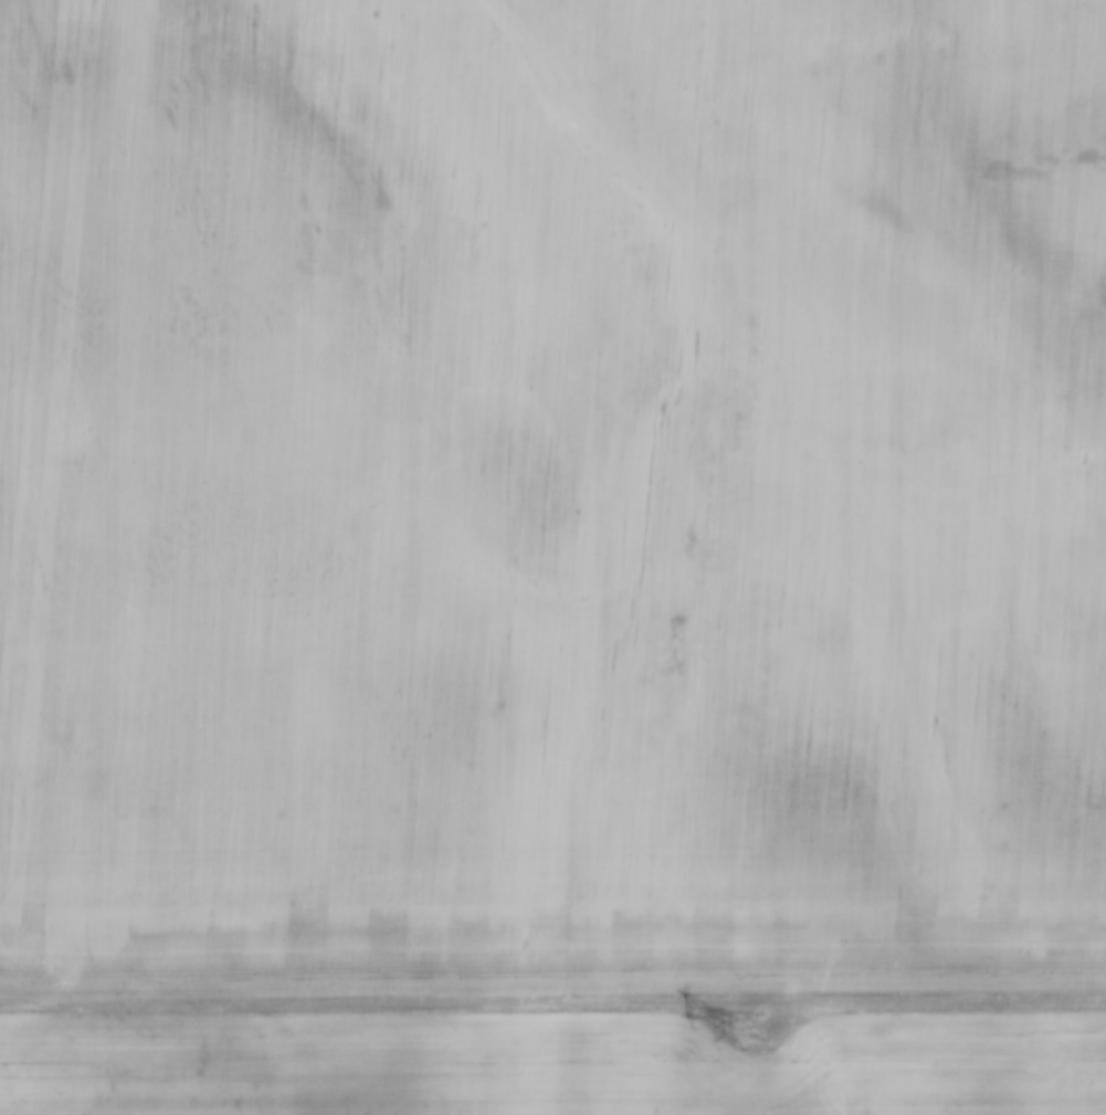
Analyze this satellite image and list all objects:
road: (552, 1003)
power tower: (748, 1034)

